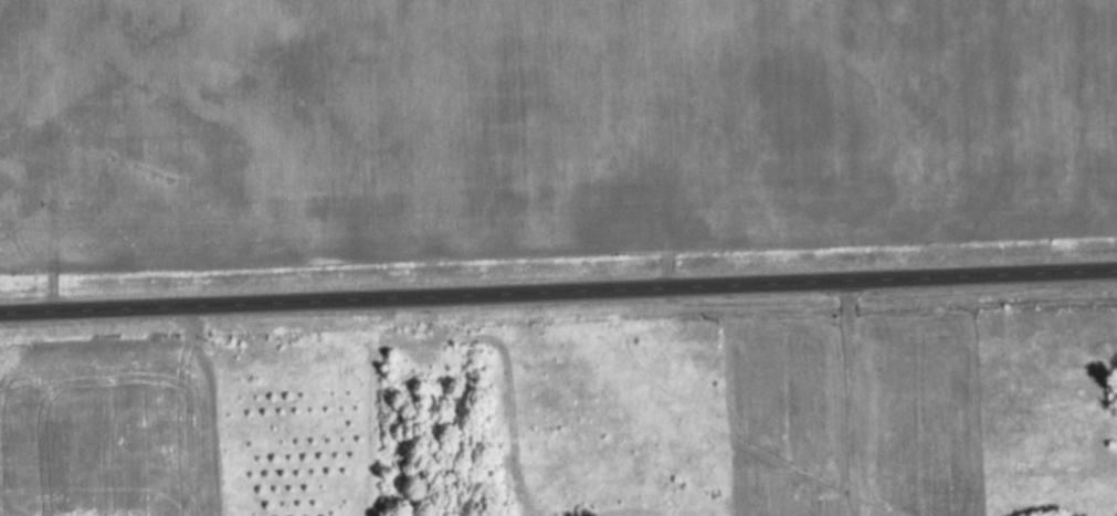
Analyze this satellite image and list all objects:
road: (558, 285)

